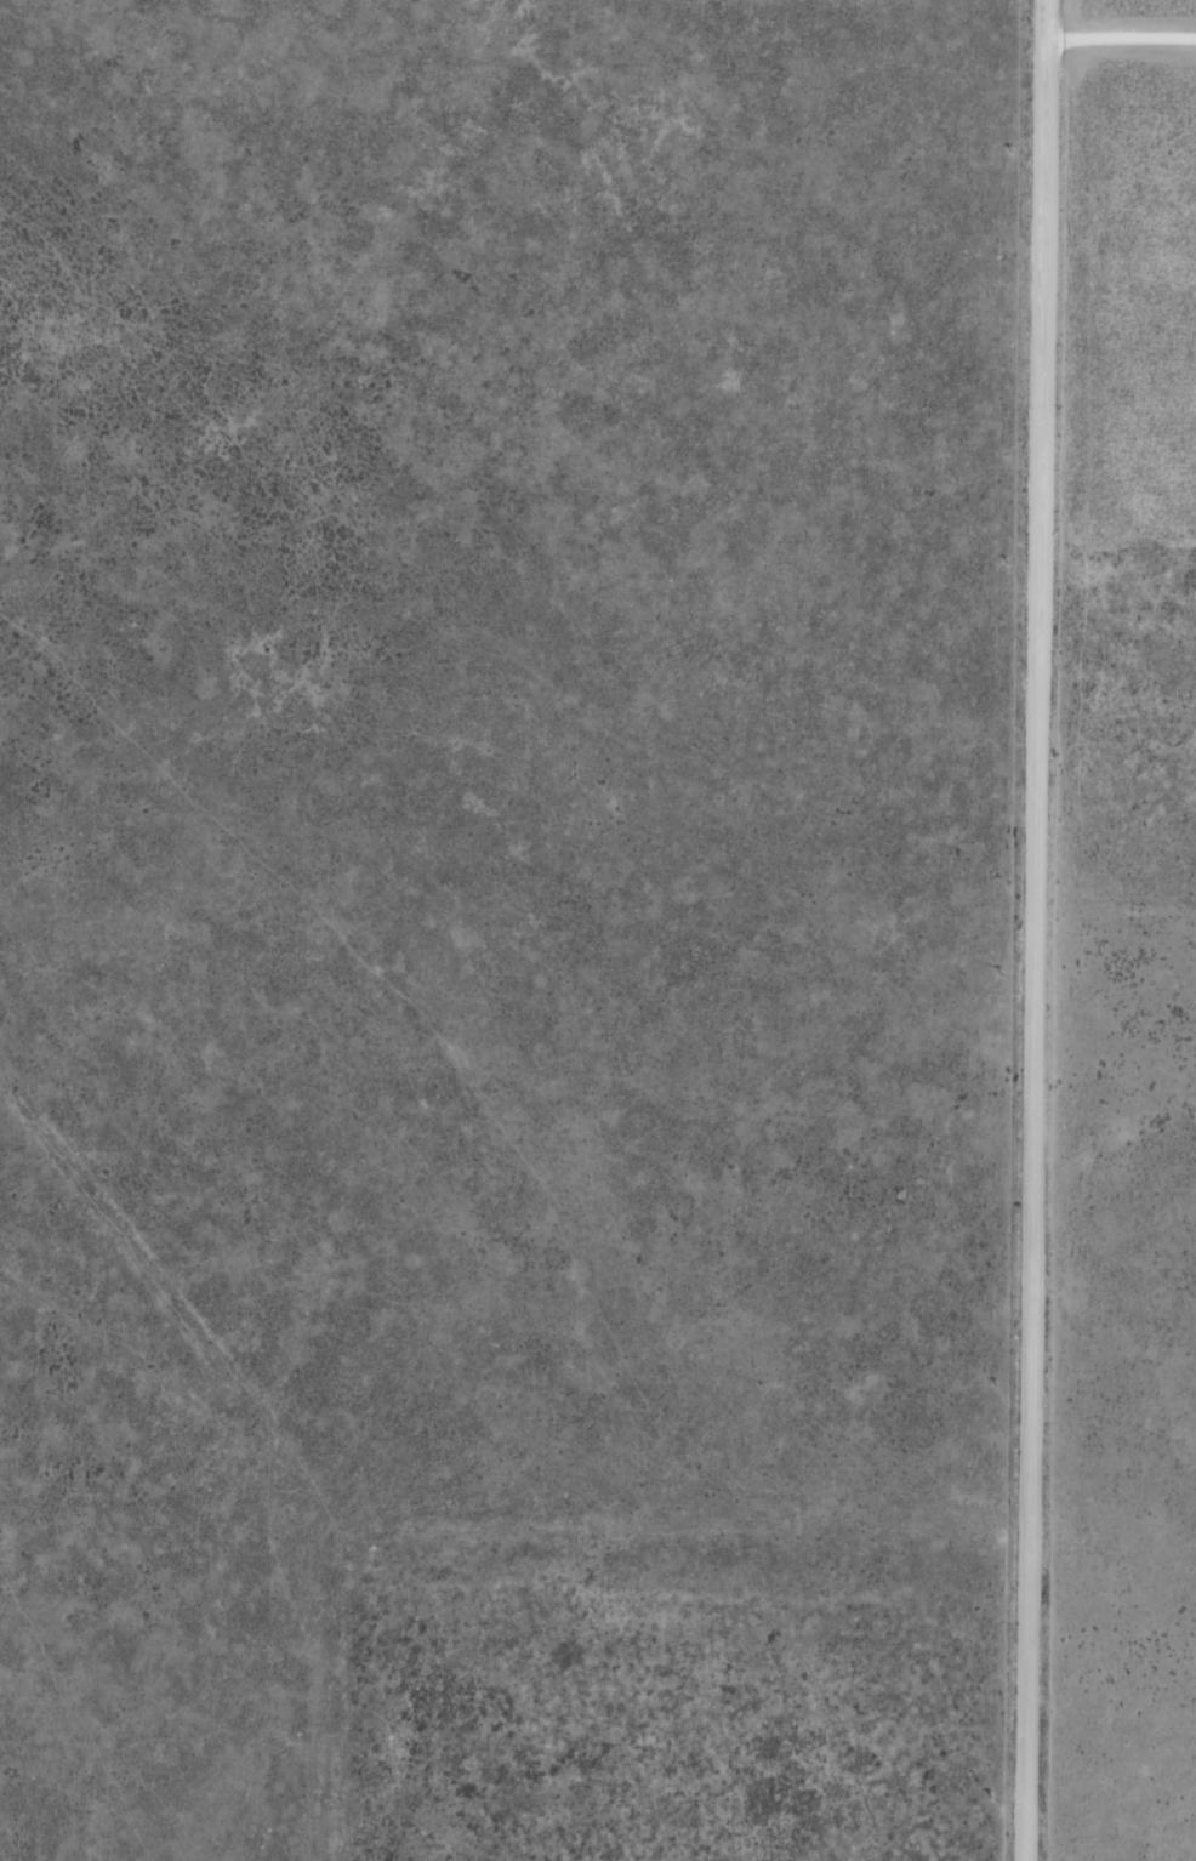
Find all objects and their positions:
road: (1036, 930)

